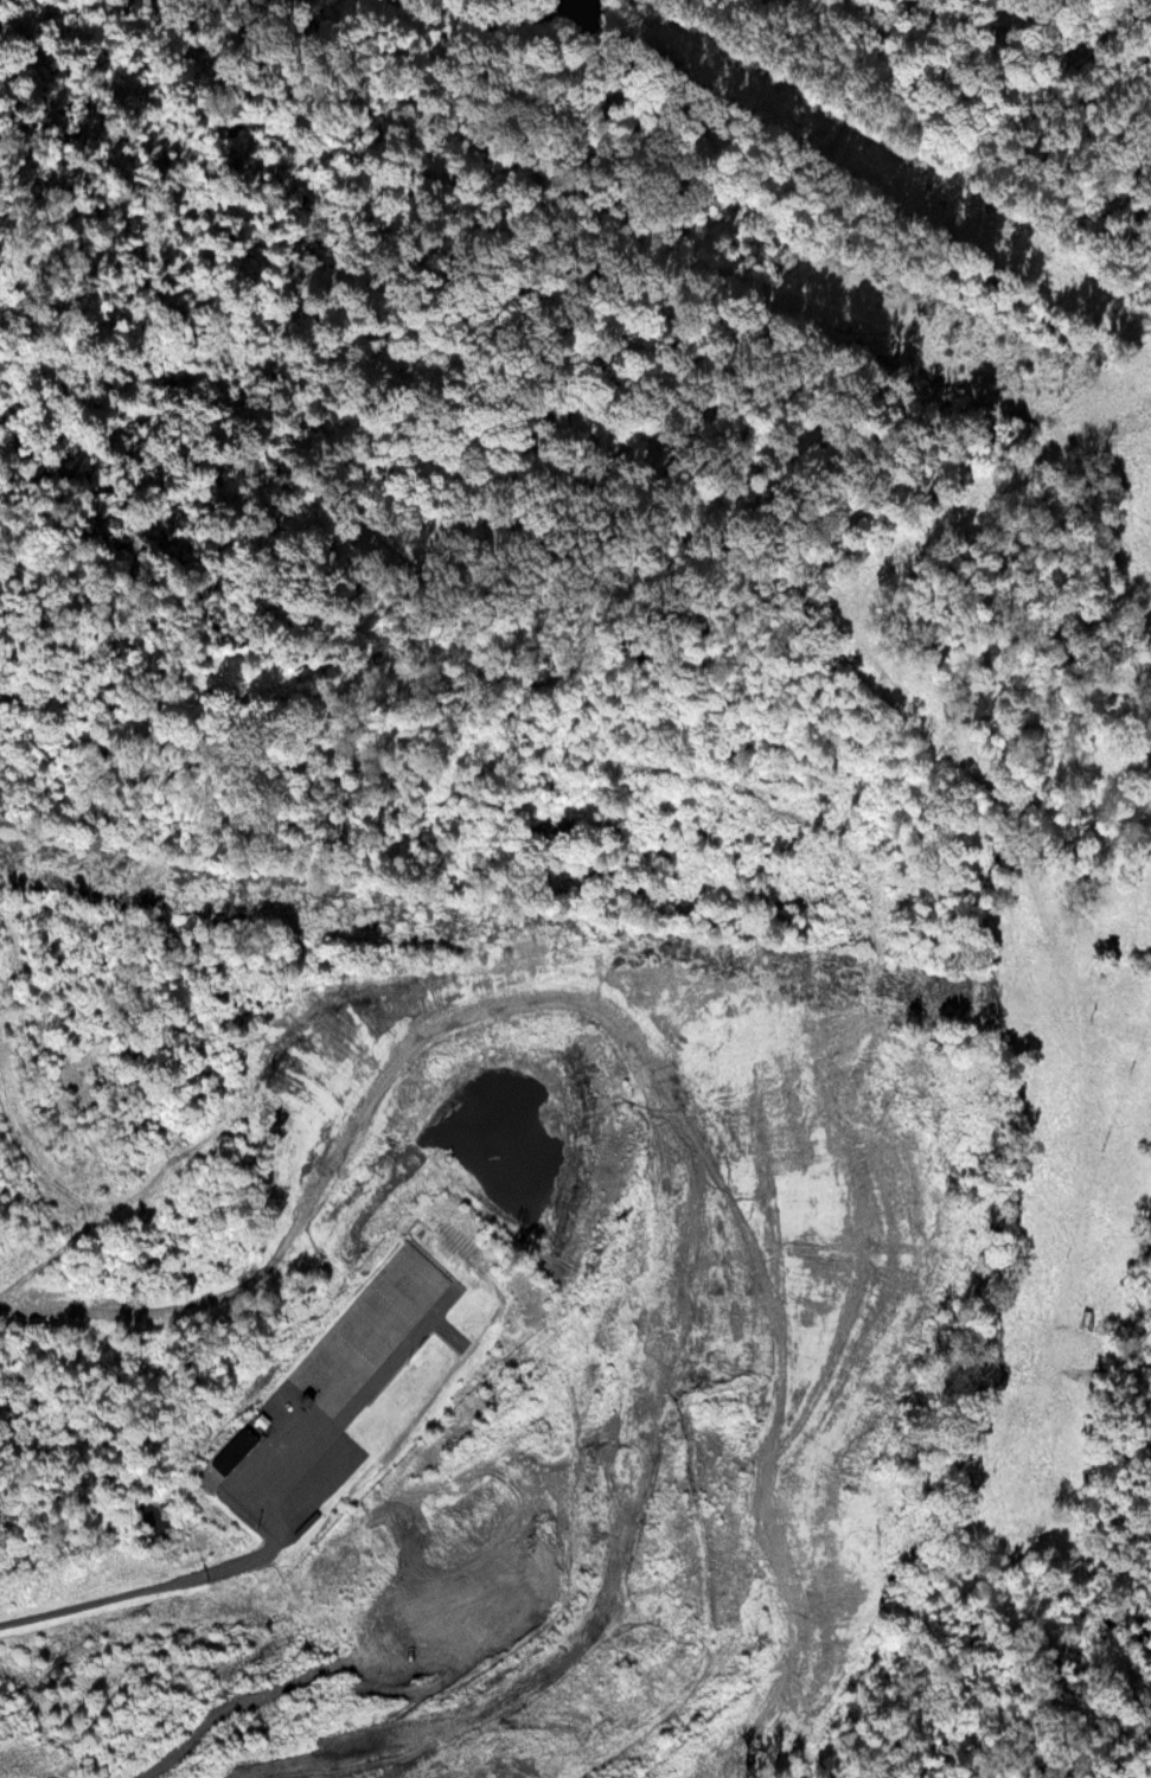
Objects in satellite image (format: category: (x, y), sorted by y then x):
building: (1082, 1318)
building: (231, 1451)
road: (199, 1572)

